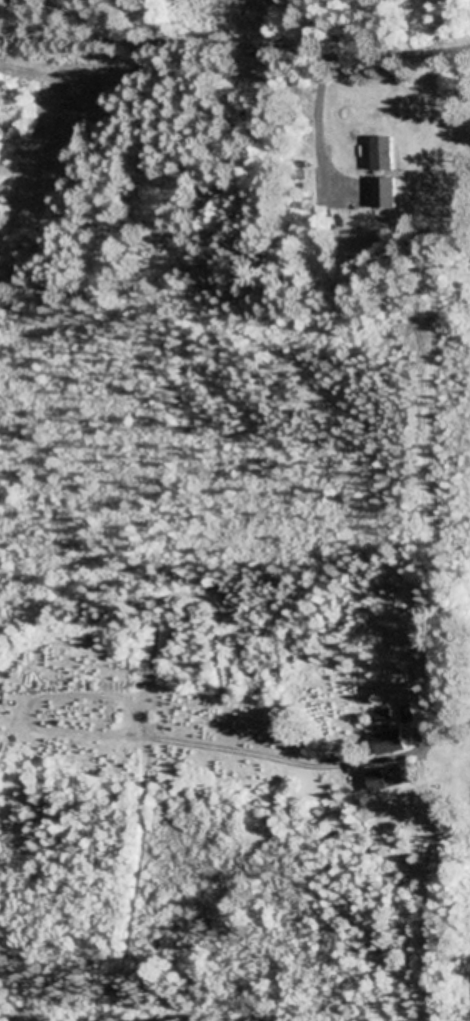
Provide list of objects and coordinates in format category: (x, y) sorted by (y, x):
building: (386, 155)
building: (392, 743)
building: (393, 778)

